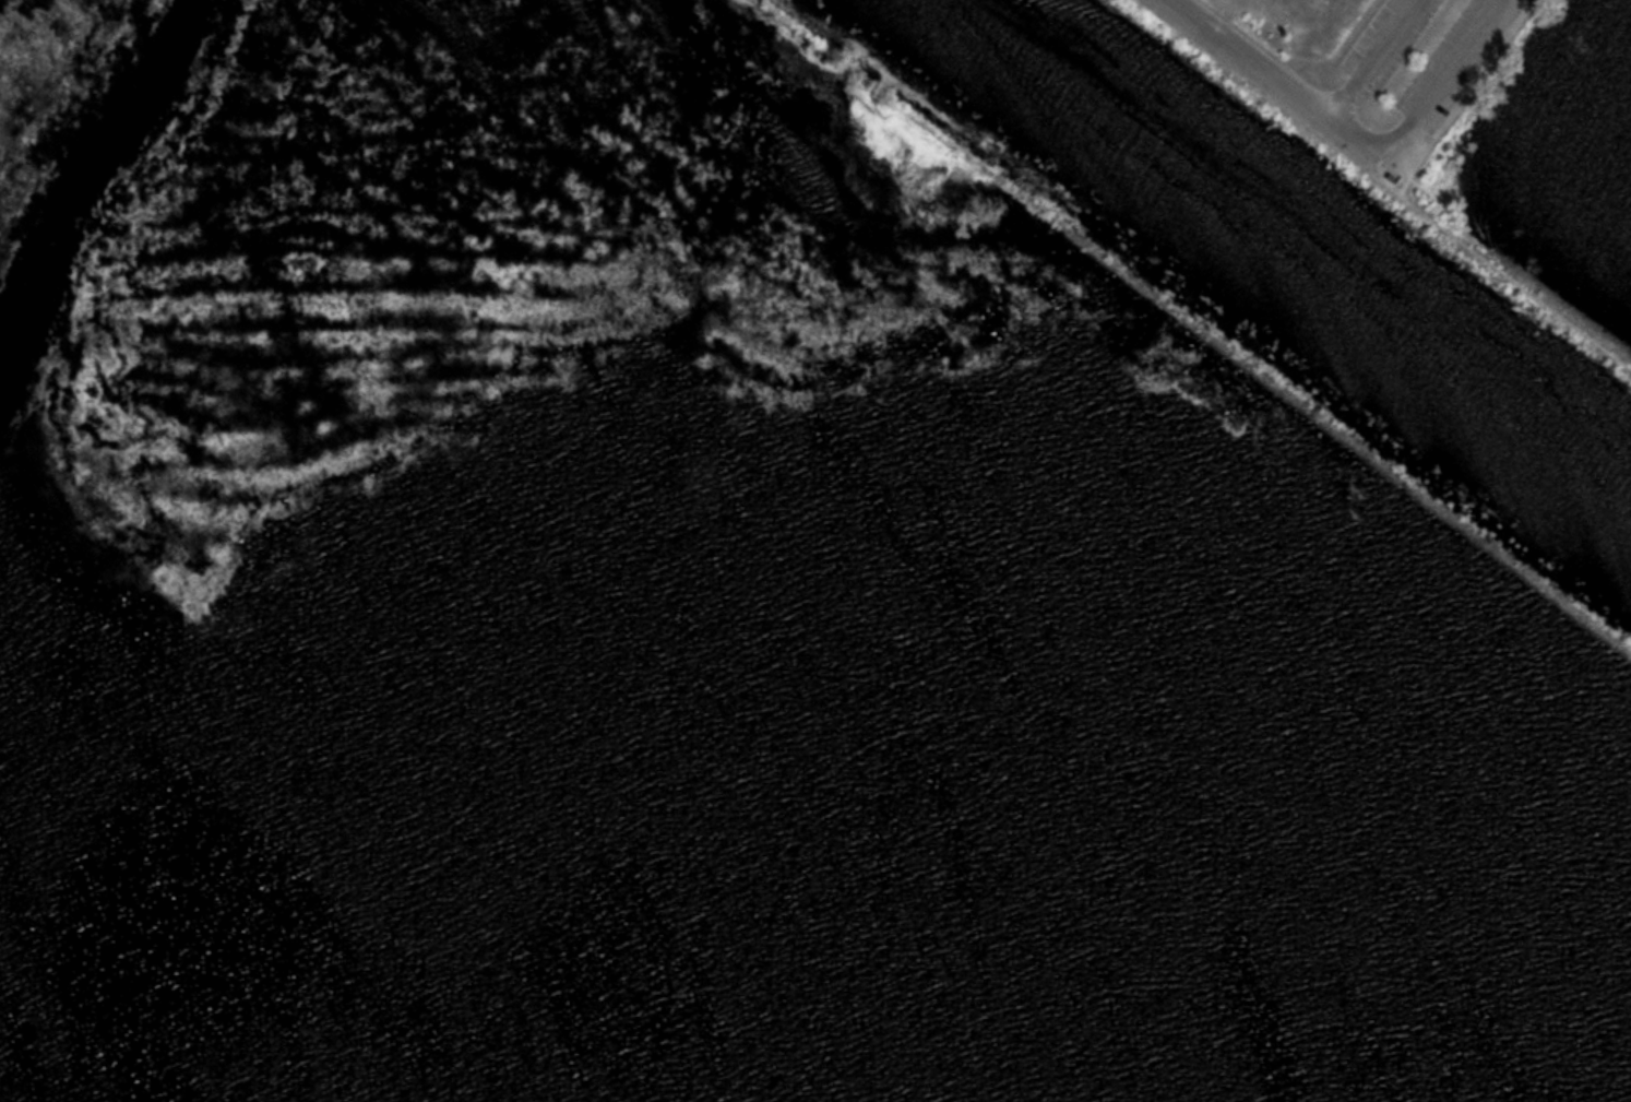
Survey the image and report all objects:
road: (1371, 56)
road: (1278, 72)
road: (1439, 78)

